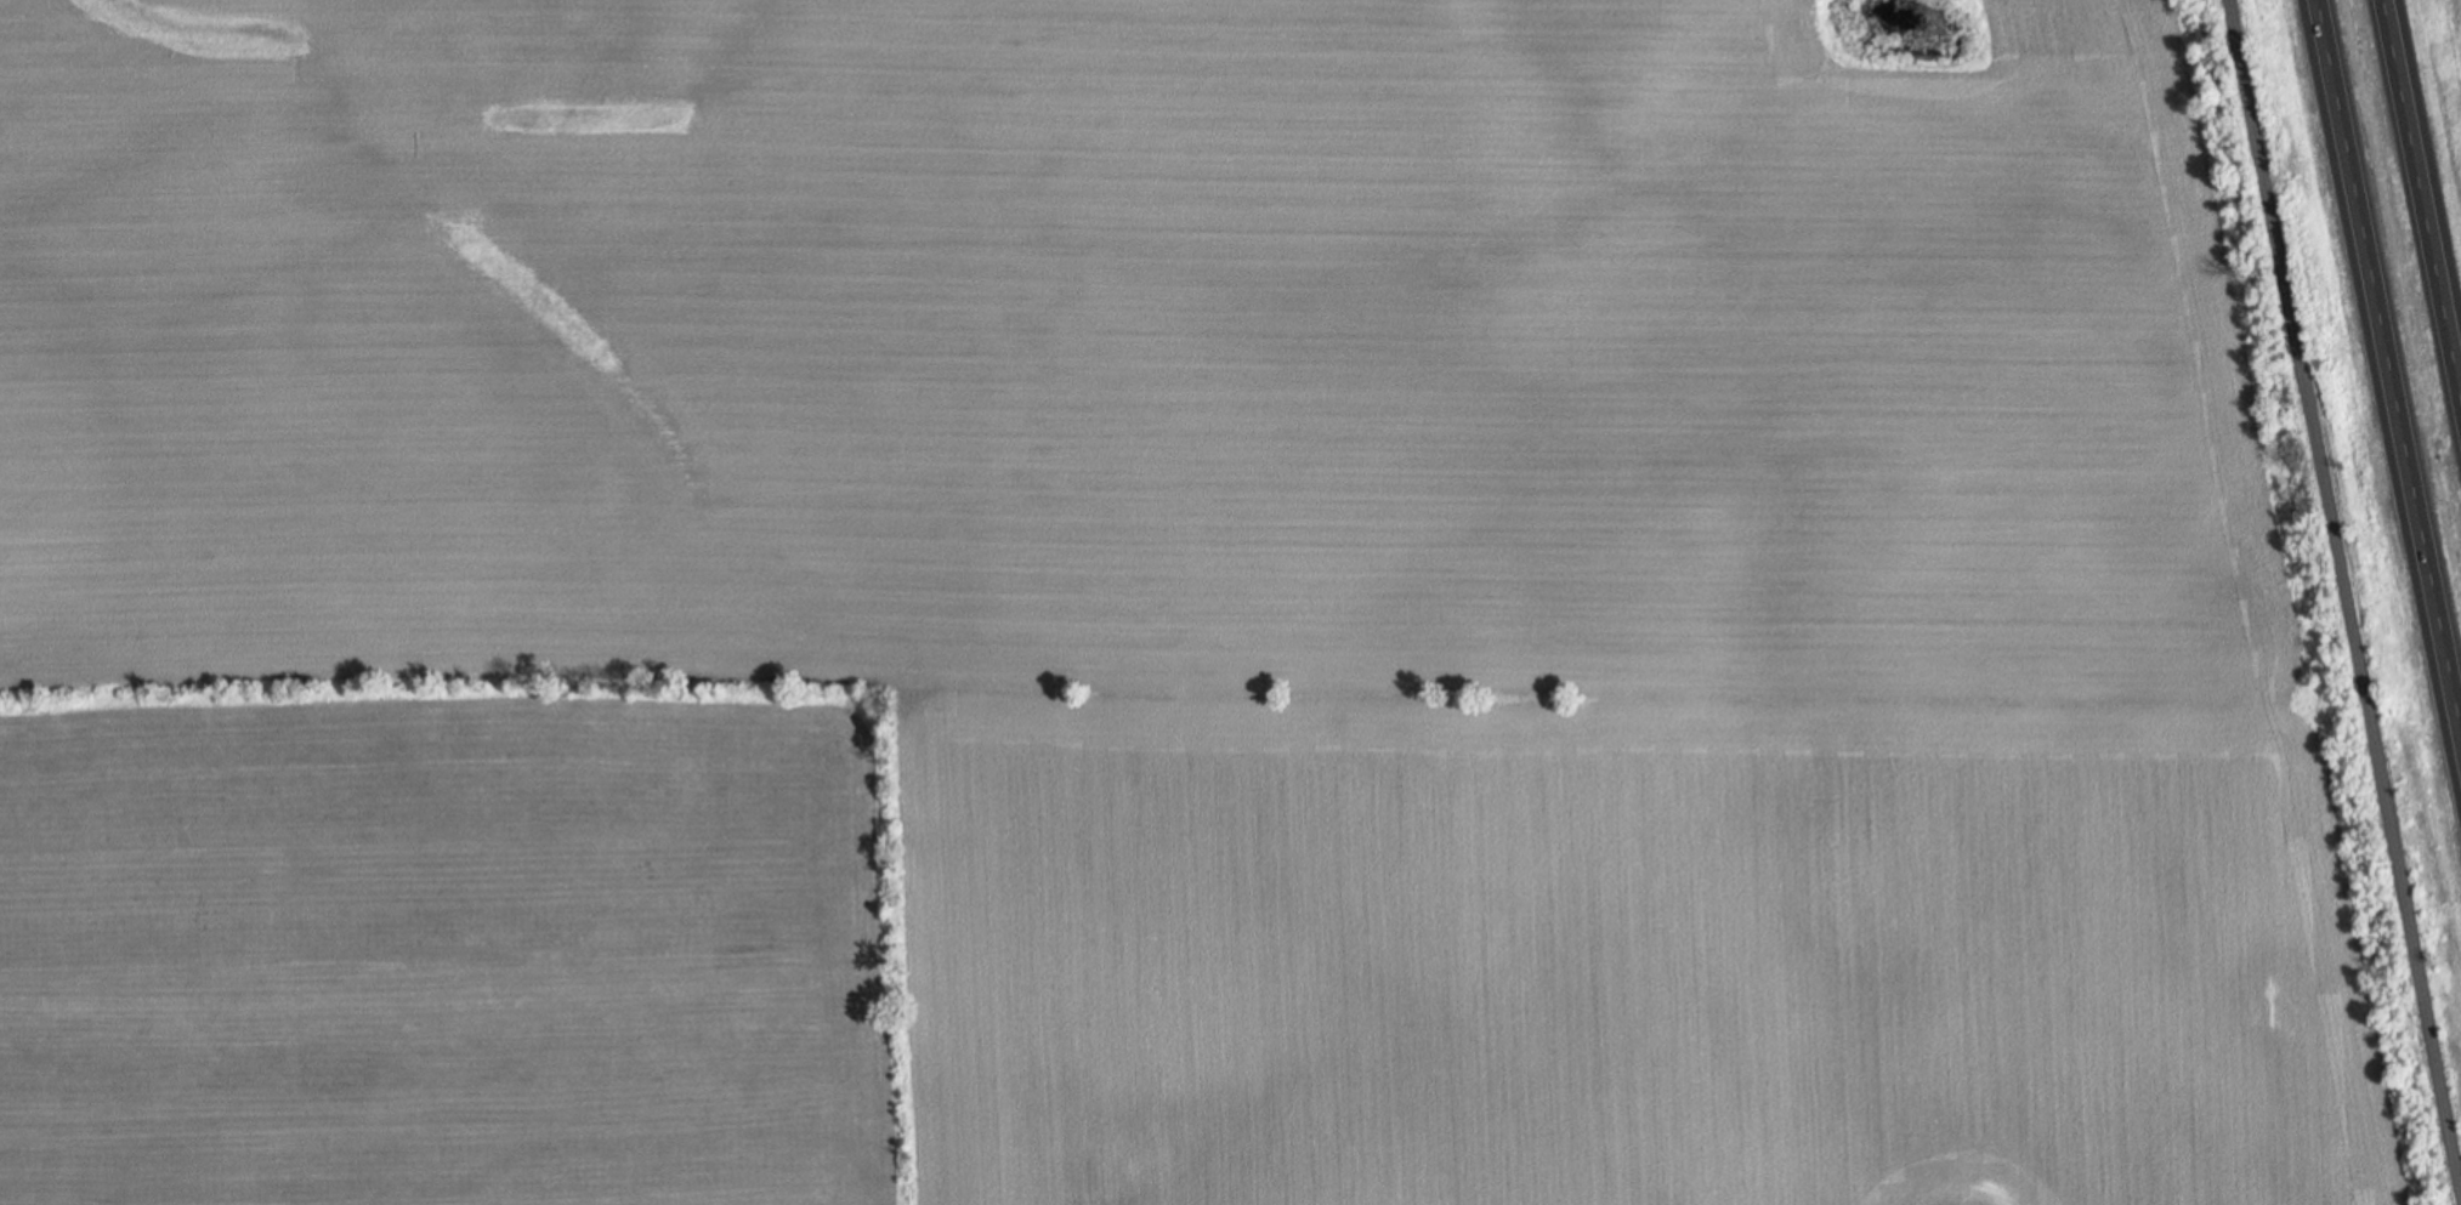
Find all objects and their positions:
road: (2422, 197)
road: (2392, 354)
road: (2344, 599)

